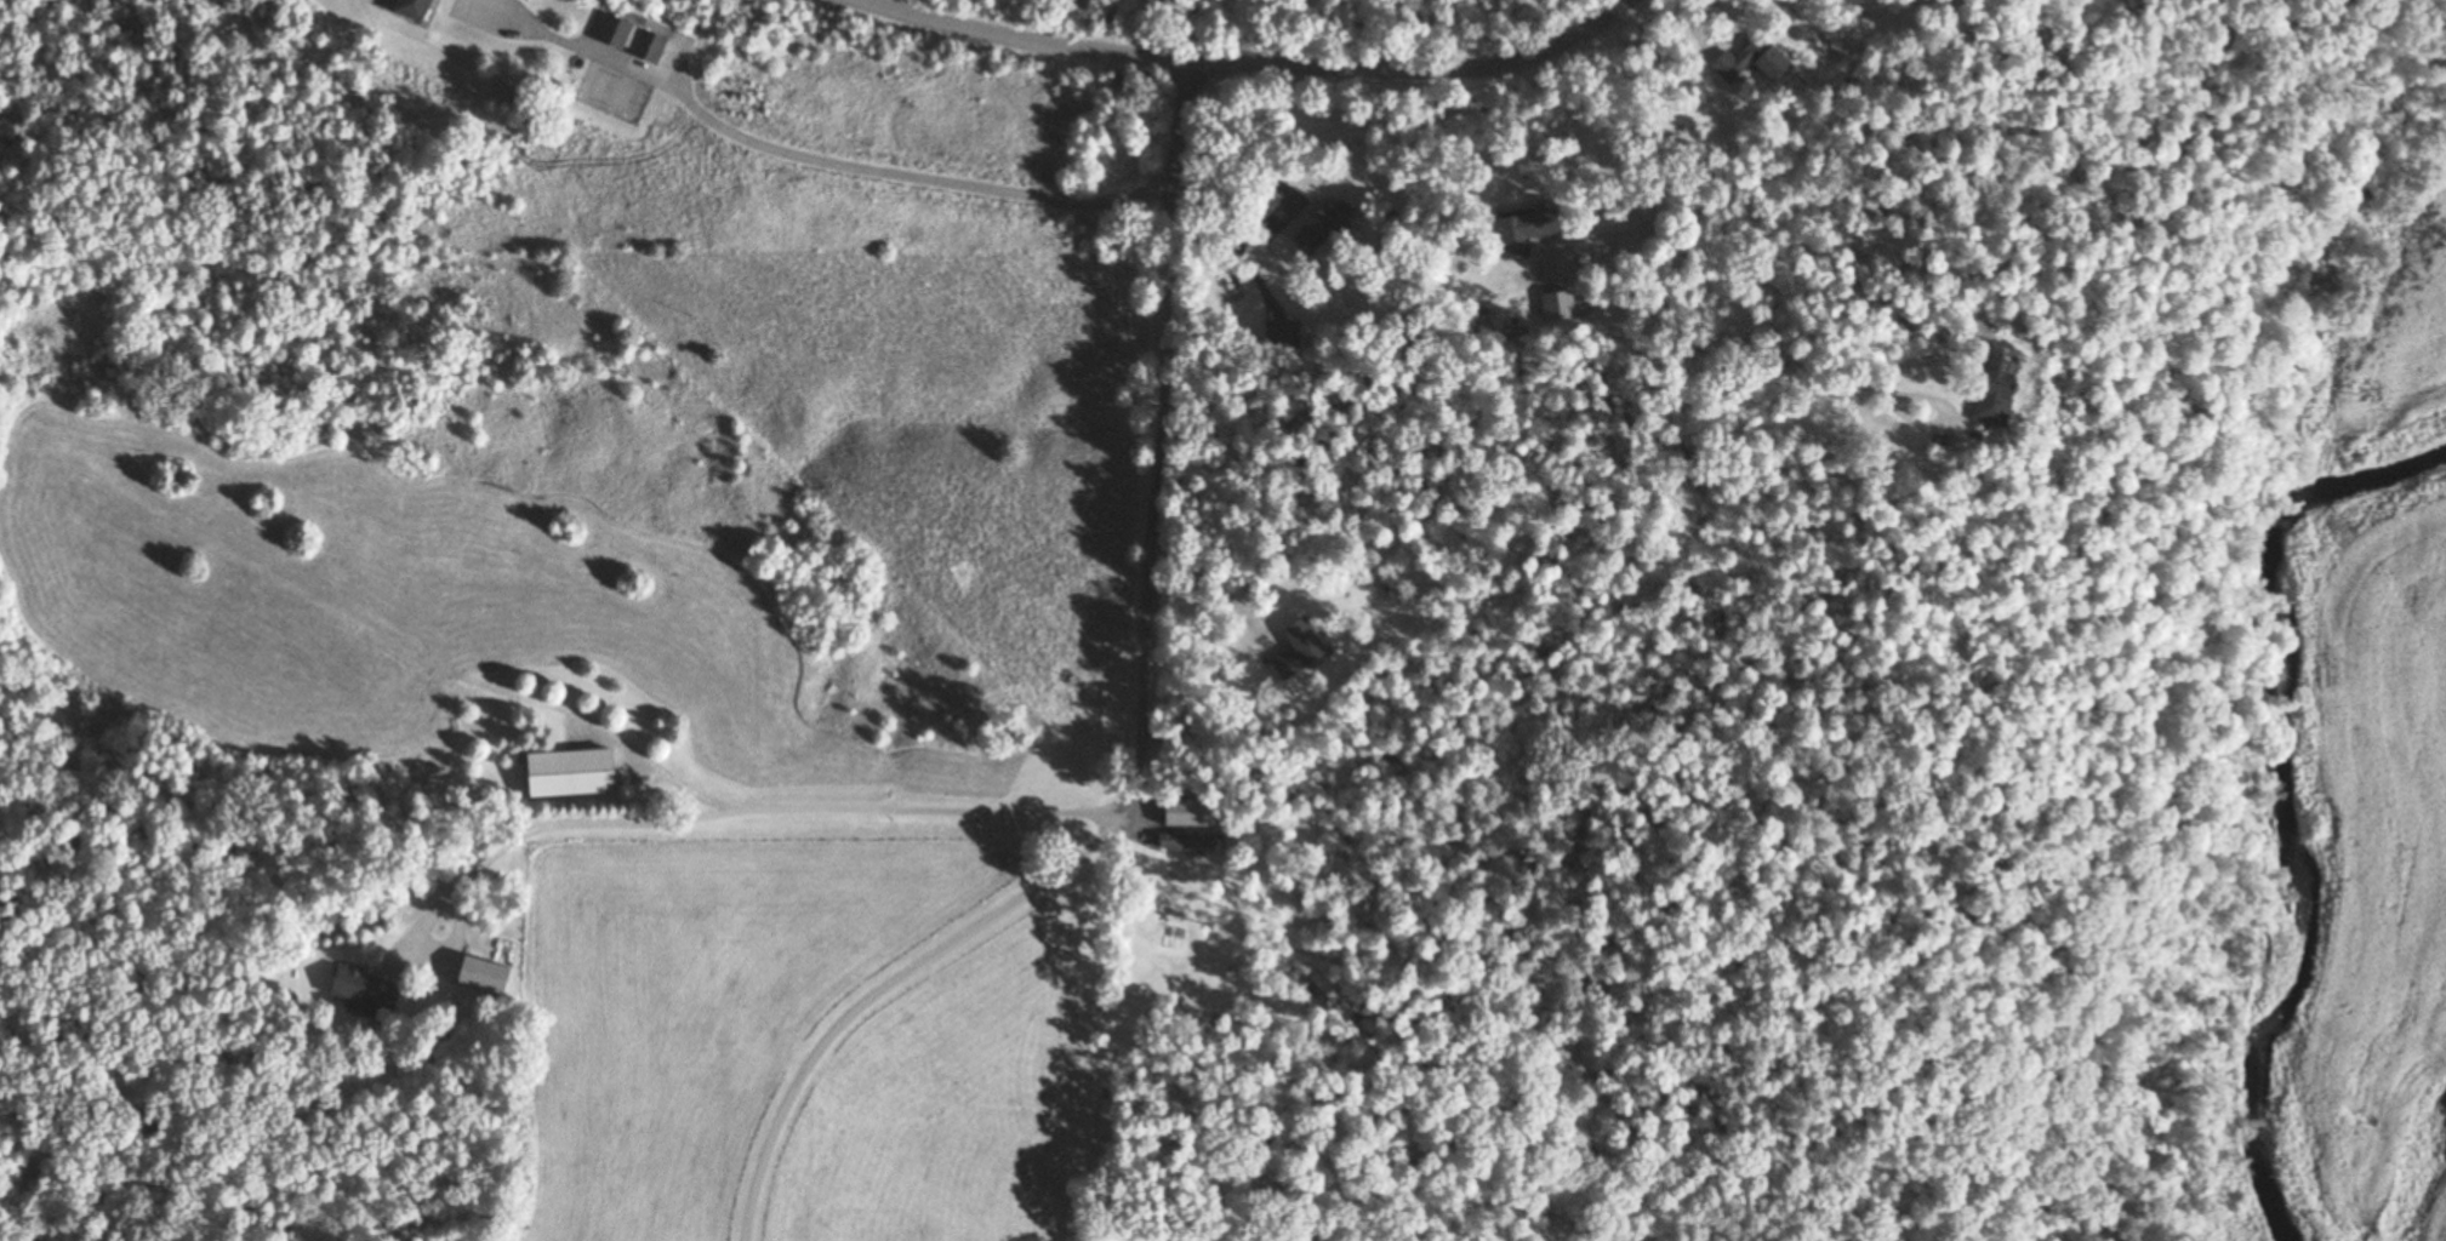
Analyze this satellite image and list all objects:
building: (398, 7)
building: (605, 32)
road: (1020, 33)
building: (640, 48)
building: (1745, 63)
road: (1422, 69)
road: (802, 155)
road: (1283, 212)
building: (1317, 227)
building: (1520, 229)
road: (1647, 271)
road: (1259, 281)
building: (1557, 305)
building: (1277, 334)
building: (1986, 388)
road: (1955, 421)
building: (1290, 648)
road: (1141, 732)
building: (561, 773)
road: (751, 813)
building: (1180, 813)
building: (1178, 842)
building: (357, 990)

